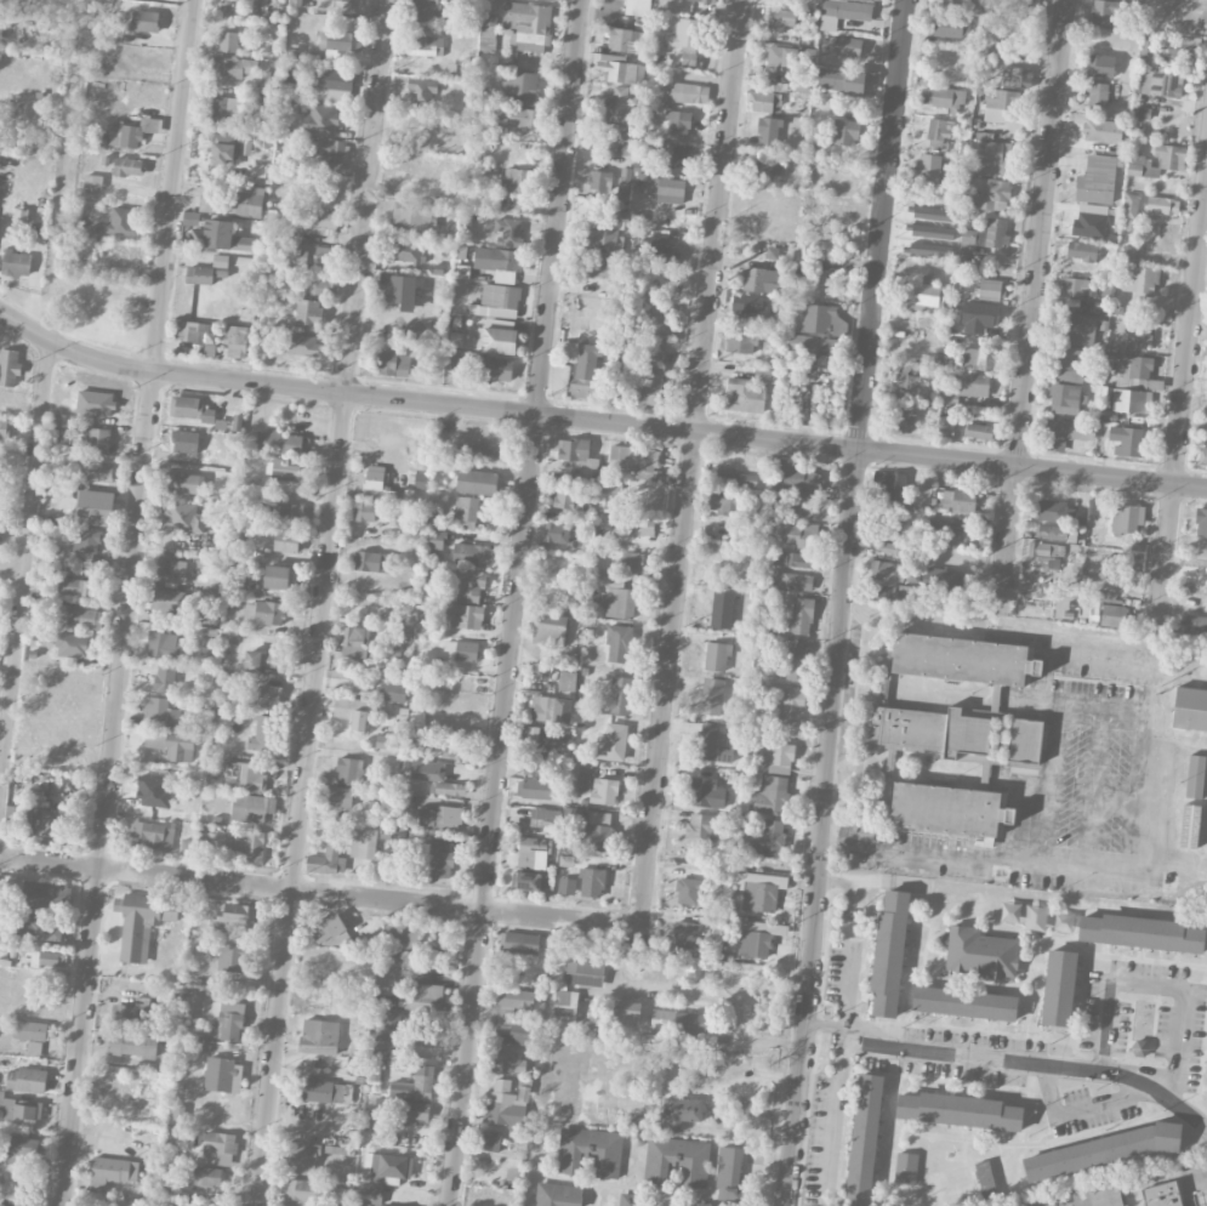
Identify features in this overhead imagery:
building: (343, 0)
building: (556, 0)
building: (296, 2)
building: (640, 7)
building: (428, 10)
building: (844, 11)
building: (1019, 12)
building: (1103, 12)
building: (780, 19)
building: (144, 21)
building: (528, 25)
building: (951, 27)
building: (489, 30)
building: (685, 35)
building: (990, 38)
building: (340, 40)
building: (621, 40)
building: (228, 41)
building: (426, 45)
building: (848, 46)
building: (1179, 49)
building: (808, 57)
building: (784, 62)
building: (1101, 66)
building: (233, 67)
building: (621, 72)
building: (1017, 76)
building: (842, 80)
building: (268, 83)
building: (1158, 83)
building: (332, 85)
building: (522, 87)
building: (690, 92)
building: (422, 93)
building: (1097, 93)
building: (762, 98)
building: (1002, 99)
building: (941, 101)
building: (620, 106)
building: (228, 110)
building: (525, 118)
building: (320, 120)
building: (678, 125)
building: (939, 129)
building: (769, 131)
building: (846, 131)
building: (1101, 131)
building: (131, 132)
building: (1169, 157)
building: (996, 158)
building: (672, 159)
building: (1141, 165)
building: (129, 166)
building: (928, 166)
building: (767, 169)
building: (518, 180)
building: (599, 180)
building: (1097, 180)
building: (93, 181)
building: (624, 182)
building: (666, 189)
building: (992, 193)
building: (207, 203)
building: (246, 203)
building: (1131, 205)
building: (1162, 205)
building: (19, 215)
building: (412, 216)
building: (190, 218)
building: (313, 218)
building: (121, 221)
building: (508, 231)
building: (218, 237)
building: (603, 240)
building: (1081, 250)
building: (406, 251)
building: (1128, 252)
building: (123, 255)
building: (312, 256)
building: (221, 260)
building: (499, 262)
building: (16, 263)
road: (38, 268)
building: (600, 268)
building: (199, 274)
building: (761, 279)
building: (1140, 280)
building: (325, 288)
building: (1078, 288)
building: (989, 289)
building: (397, 291)
building: (924, 294)
building: (497, 301)
road: (1031, 307)
building: (746, 308)
building: (308, 312)
building: (660, 319)
building: (822, 319)
building: (980, 323)
building: (1075, 329)
building: (193, 331)
building: (419, 335)
building: (1137, 335)
building: (235, 340)
building: (497, 340)
building: (741, 341)
building: (300, 345)
building: (813, 345)
building: (625, 347)
building: (653, 358)
building: (979, 358)
building: (452, 360)
building: (587, 360)
building: (389, 363)
building: (1067, 364)
building: (8, 366)
building: (493, 368)
building: (1138, 374)
building: (764, 375)
building: (909, 385)
building: (973, 385)
building: (647, 387)
building: (744, 396)
building: (1064, 398)
building: (1131, 400)
road: (1180, 403)
building: (189, 409)
building: (904, 420)
road: (597, 421)
building: (4, 428)
building: (979, 431)
building: (1066, 433)
building: (96, 439)
building: (1128, 440)
building: (279, 443)
building: (569, 449)
building: (478, 451)
building: (1202, 456)
building: (638, 462)
road: (690, 463)
building: (93, 471)
building: (734, 479)
building: (223, 480)
building: (422, 480)
building: (182, 482)
building: (476, 482)
building: (803, 482)
building: (375, 483)
building: (893, 487)
building: (613, 495)
building: (568, 497)
building: (958, 500)
building: (723, 505)
building: (95, 507)
building: (1053, 510)
building: (365, 511)
building: (466, 512)
building: (283, 513)
building: (183, 518)
building: (1126, 518)
building: (1201, 523)
building: (636, 524)
building: (951, 530)
building: (556, 533)
building: (1057, 533)
building: (798, 535)
building: (435, 539)
building: (286, 540)
building: (85, 541)
road: (24, 552)
building: (472, 553)
building: (1044, 553)
building: (796, 558)
building: (631, 561)
building: (374, 562)
road: (11, 565)
building: (169, 571)
building: (886, 571)
building: (278, 576)
building: (941, 580)
building: (796, 581)
building: (79, 586)
building: (468, 586)
building: (1049, 587)
building: (619, 598)
road: (126, 602)
road: (843, 602)
road: (321, 603)
road: (516, 603)
building: (170, 604)
building: (722, 609)
building: (263, 613)
building: (1112, 615)
building: (463, 616)
building: (802, 616)
building: (85, 618)
building: (1194, 624)
building: (550, 628)
building: (353, 641)
building: (164, 642)
building: (619, 643)
building: (74, 645)
building: (463, 650)
building: (717, 656)
building: (963, 659)
building: (262, 660)
building: (797, 661)
building: (164, 678)
building: (567, 681)
building: (392, 692)
building: (620, 694)
building: (268, 695)
building: (711, 695)
building: (792, 706)
building: (542, 707)
building: (1190, 709)
building: (562, 710)
building: (352, 711)
building: (160, 712)
building: (417, 718)
building: (933, 732)
building: (260, 734)
building: (534, 735)
building: (1024, 740)
building: (387, 741)
building: (613, 743)
building: (713, 744)
building: (172, 745)
building: (448, 751)
building: (780, 757)
building: (534, 763)
building: (427, 769)
road: (1053, 769)
road: (1094, 769)
building: (349, 770)
building: (245, 776)
building: (1195, 776)
building: (450, 789)
building: (534, 789)
building: (604, 791)
building: (706, 792)
building: (338, 796)
building: (770, 796)
building: (252, 808)
building: (949, 809)
building: (439, 815)
building: (57, 819)
building: (1190, 825)
building: (701, 829)
building: (597, 832)
building: (152, 834)
building: (768, 837)
road: (836, 842)
building: (363, 843)
building: (250, 844)
building: (186, 847)
building: (533, 851)
building: (439, 859)
road: (1128, 859)
building: (326, 861)
building: (526, 880)
building: (592, 882)
building: (567, 886)
building: (688, 891)
building: (759, 891)
road: (319, 894)
building: (45, 897)
building: (1010, 914)
building: (234, 916)
building: (142, 922)
building: (39, 927)
building: (1140, 931)
building: (330, 932)
building: (403, 933)
building: (684, 933)
building: (753, 940)
building: (522, 943)
building: (889, 952)
building: (980, 952)
building: (232, 957)
building: (52, 958)
building: (583, 973)
building: (386, 974)
road: (1154, 984)
building: (1059, 986)
building: (426, 997)
road: (722, 1000)
building: (964, 1002)
building: (564, 1008)
building: (626, 1012)
building: (129, 1016)
building: (391, 1017)
building: (505, 1017)
building: (228, 1019)
building: (678, 1022)
road: (816, 1023)
road: (836, 1025)
building: (30, 1035)
building: (319, 1036)
building: (133, 1045)
building: (380, 1046)
building: (428, 1046)
building: (1139, 1047)
road: (986, 1058)
building: (508, 1062)
building: (355, 1064)
building: (223, 1075)
building: (27, 1080)
building: (417, 1087)
building: (321, 1091)
building: (223, 1102)
building: (506, 1103)
building: (21, 1108)
building: (960, 1109)
building: (409, 1111)
building: (682, 1111)
road: (835, 1116)
building: (864, 1138)
building: (491, 1140)
building: (220, 1147)
building: (21, 1149)
building: (590, 1150)
building: (1101, 1150)
building: (301, 1157)
building: (677, 1160)
building: (514, 1166)
building: (906, 1167)
building: (113, 1172)
building: (729, 1173)
building: (380, 1176)
building: (203, 1177)
building: (985, 1178)
building: (304, 1193)
building: (557, 1194)
building: (1098, 1194)
building: (1161, 1194)
building: (1201, 1198)
building: (627, 1199)
building: (10, 1202)
building: (173, 1202)
building: (377, 1205)
building: (708, 1205)

